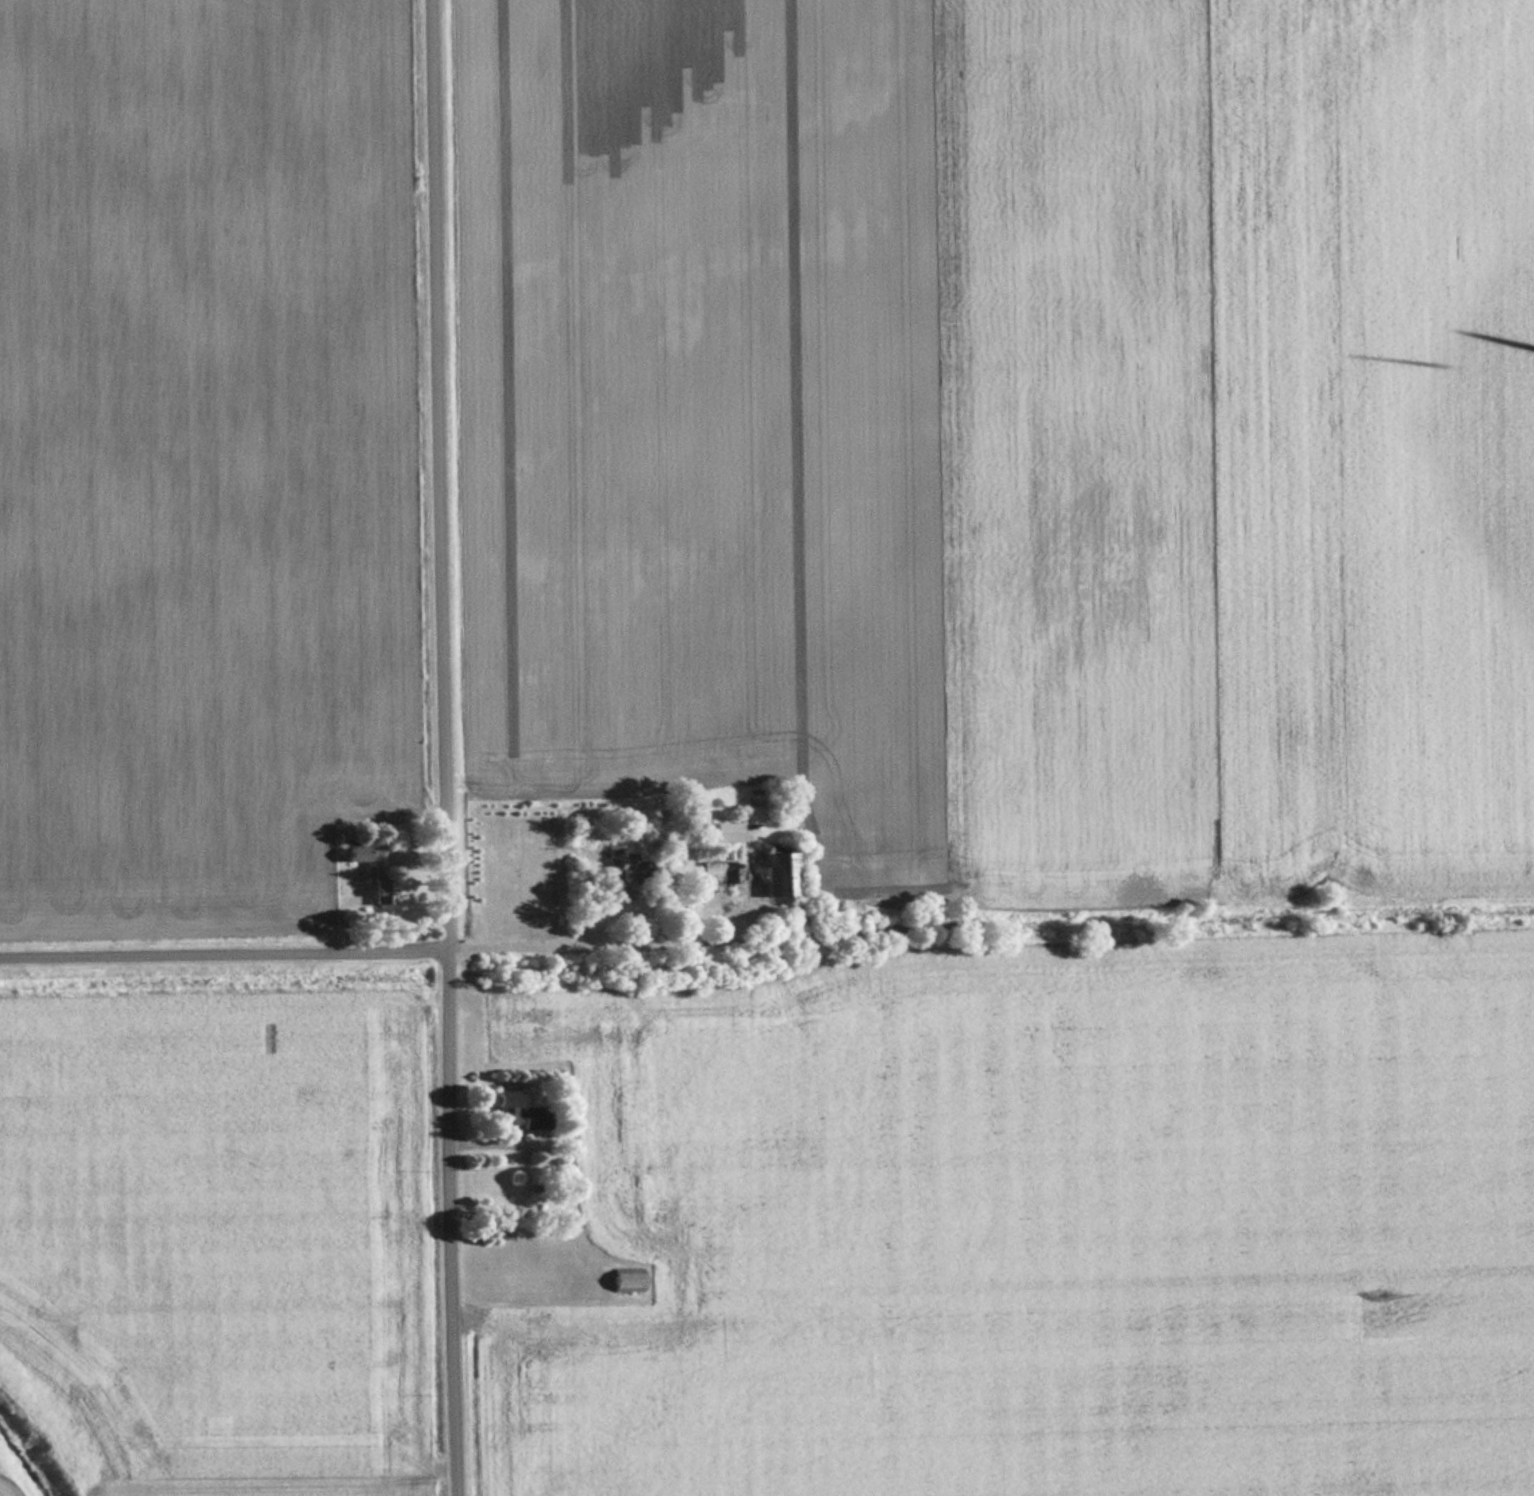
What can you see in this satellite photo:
road: (449, 747)
building: (725, 831)
building: (363, 857)
building: (620, 870)
building: (778, 873)
building: (380, 890)
road: (368, 945)
building: (504, 1107)
building: (533, 1116)
building: (626, 1279)

